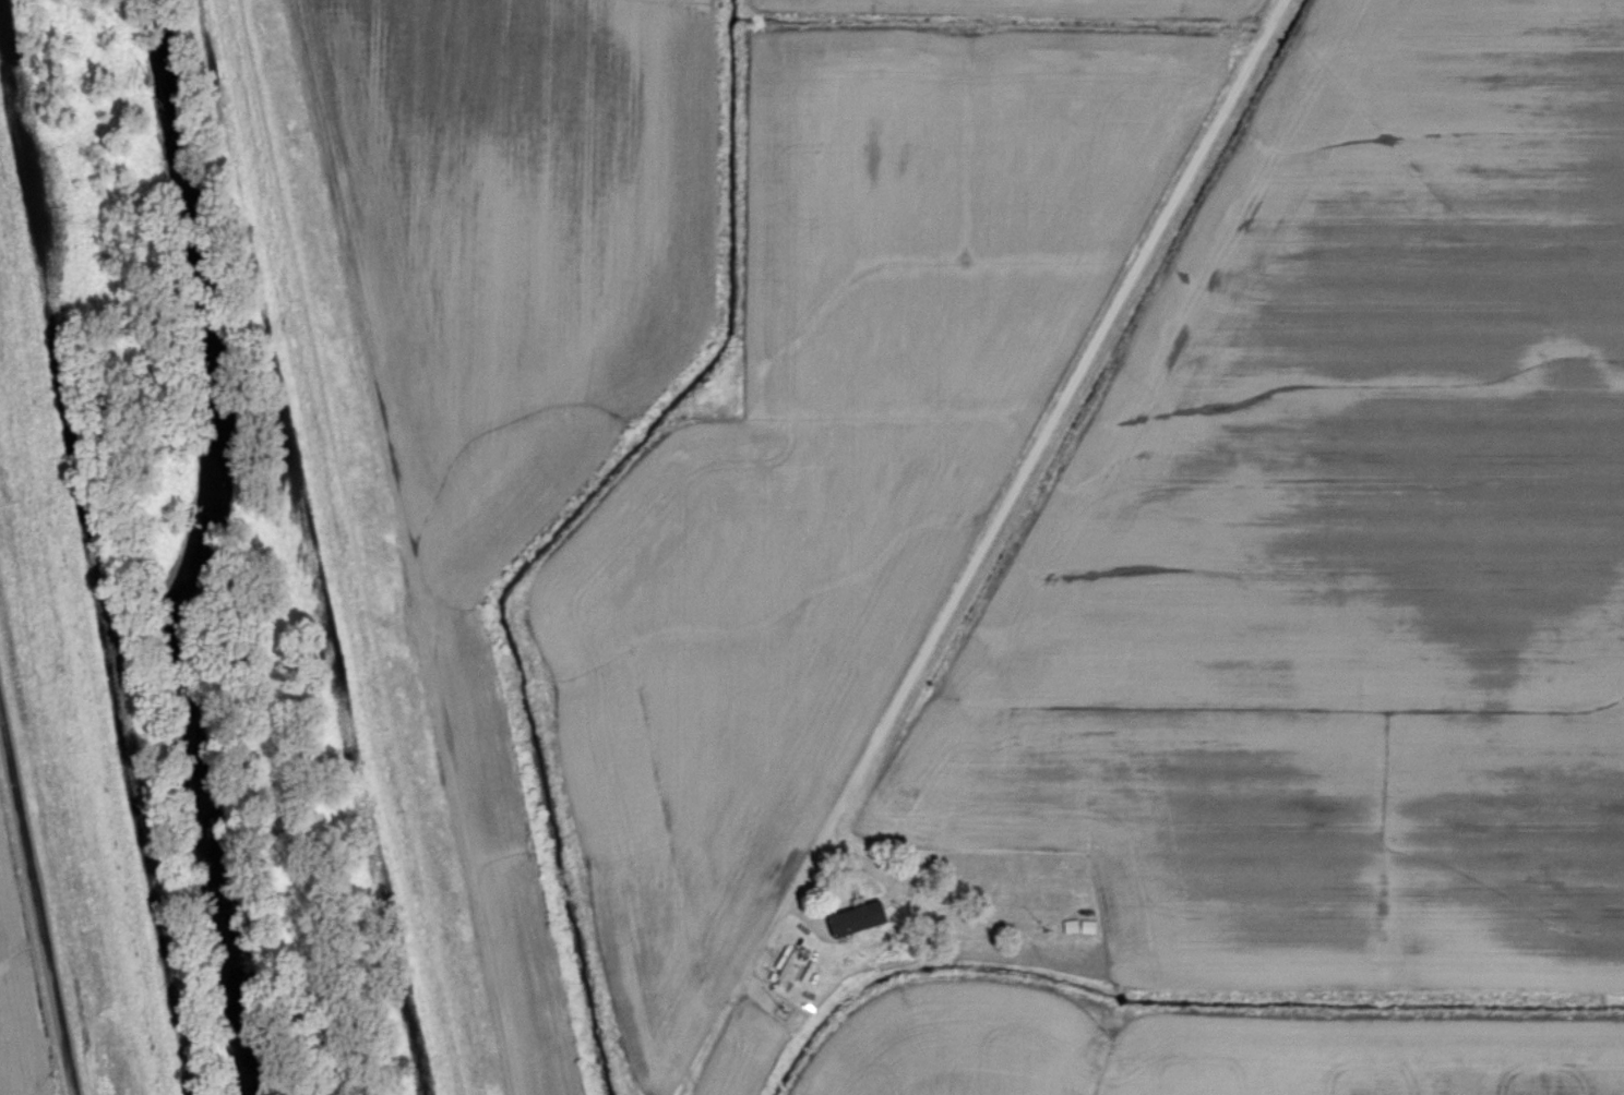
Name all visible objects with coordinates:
road: (942, 519)
building: (867, 917)
road: (5, 1059)

